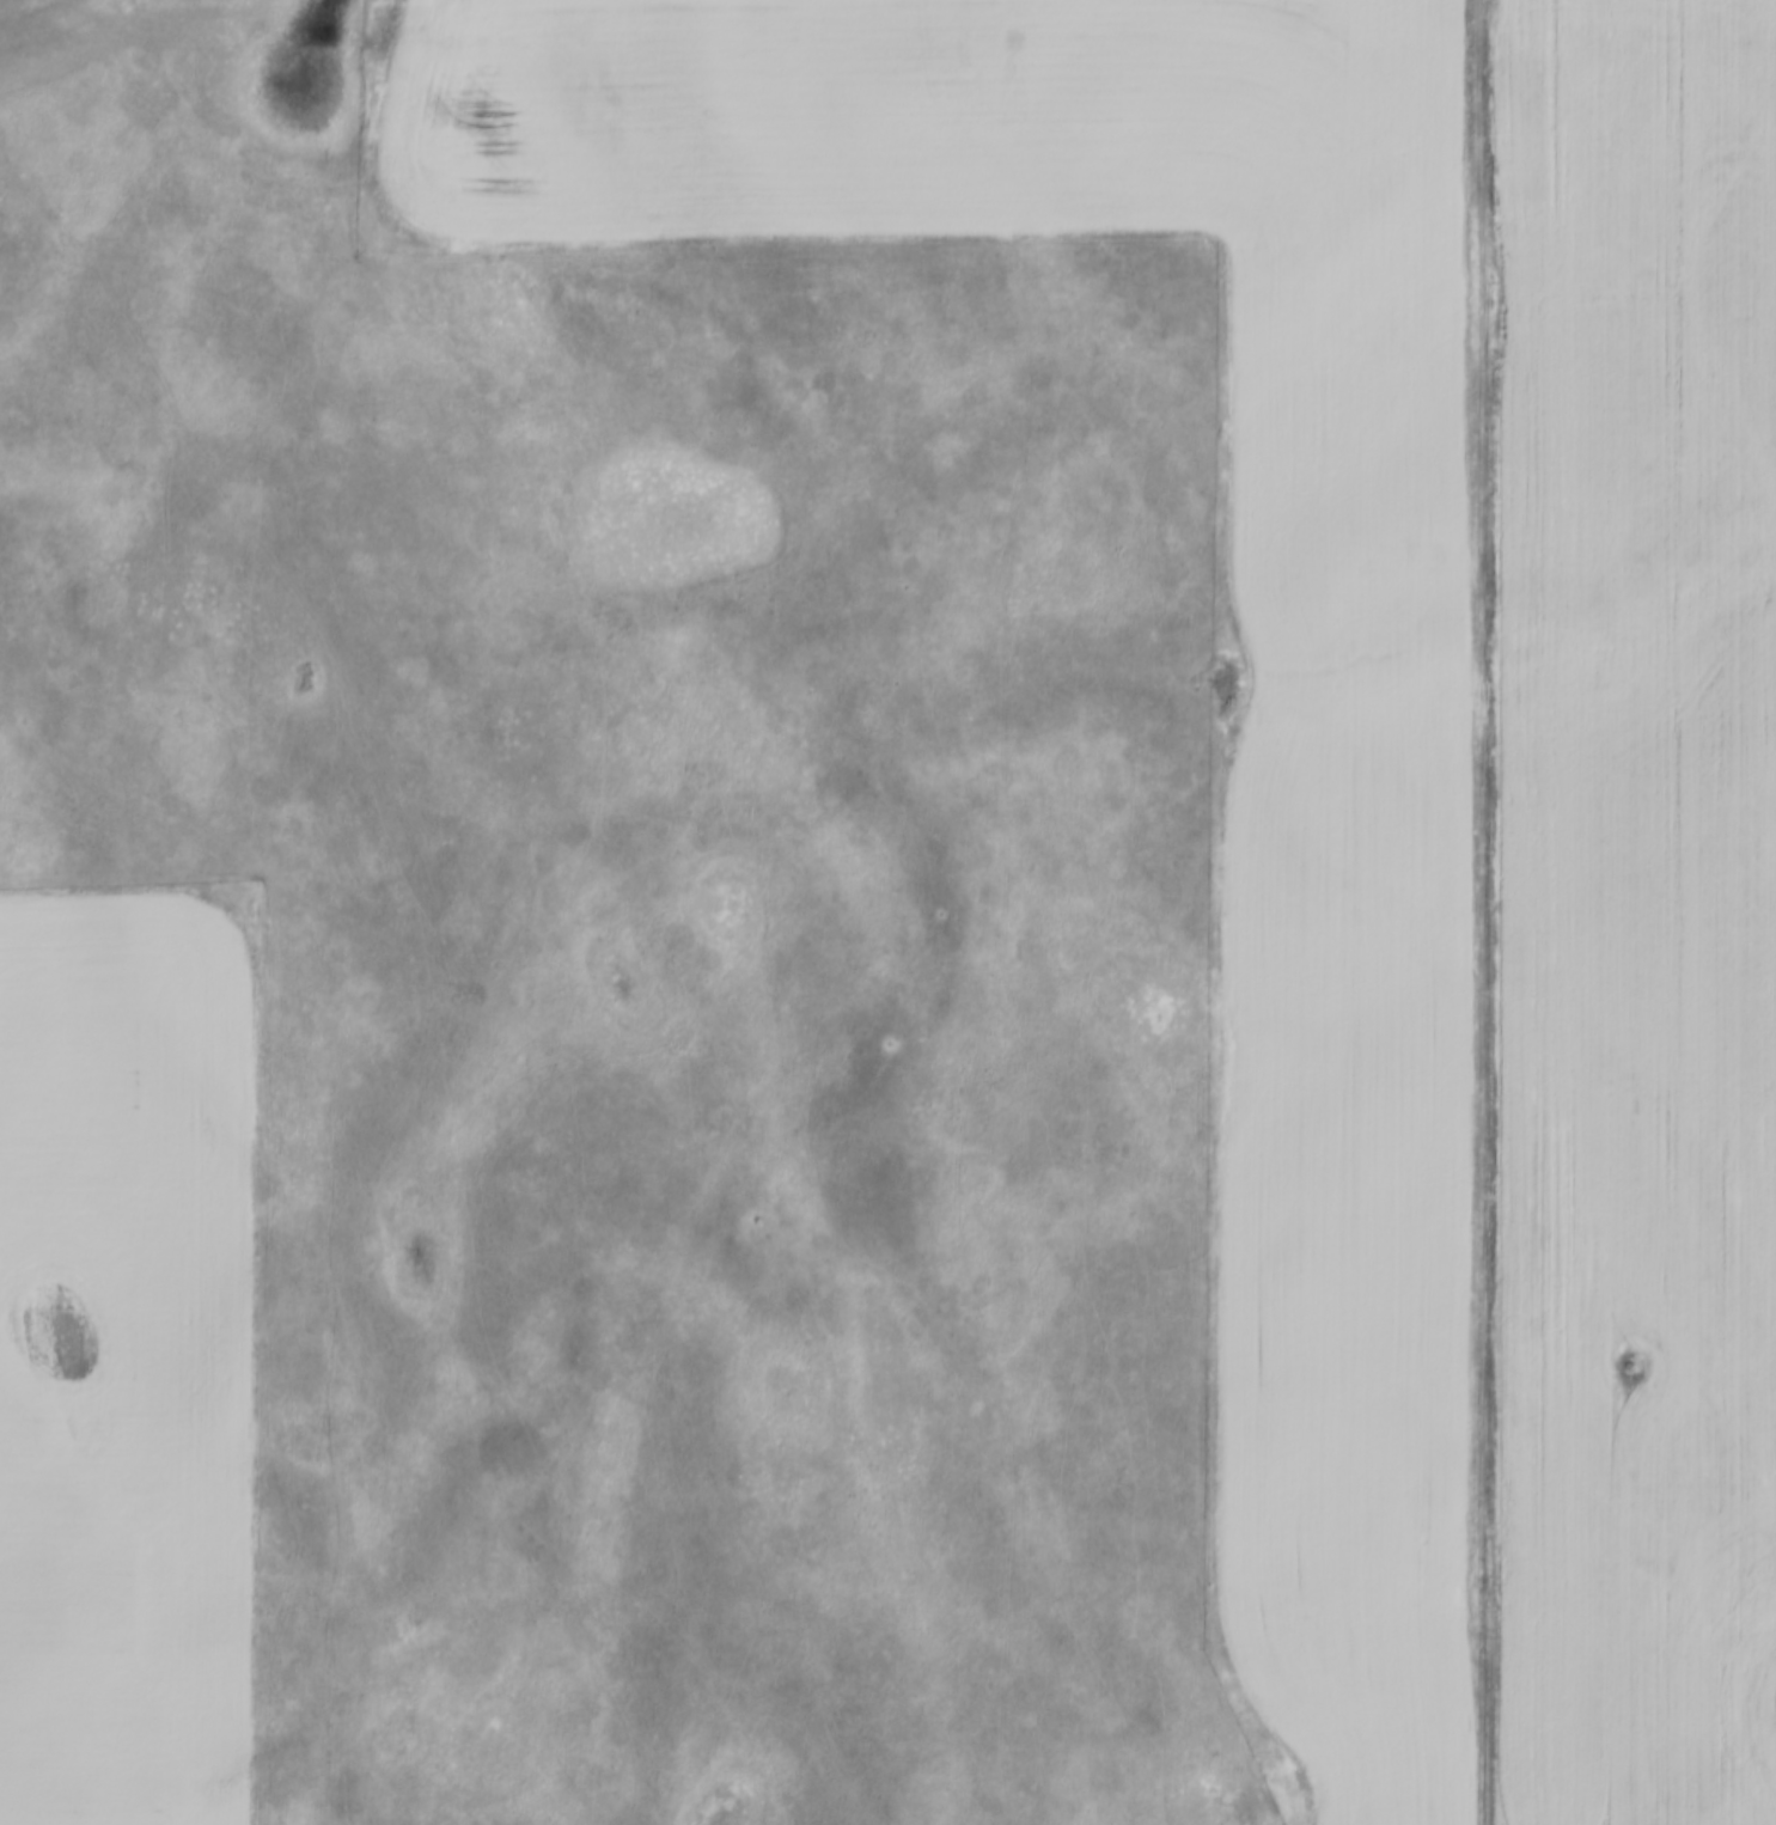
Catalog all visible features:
road: (1478, 911)

